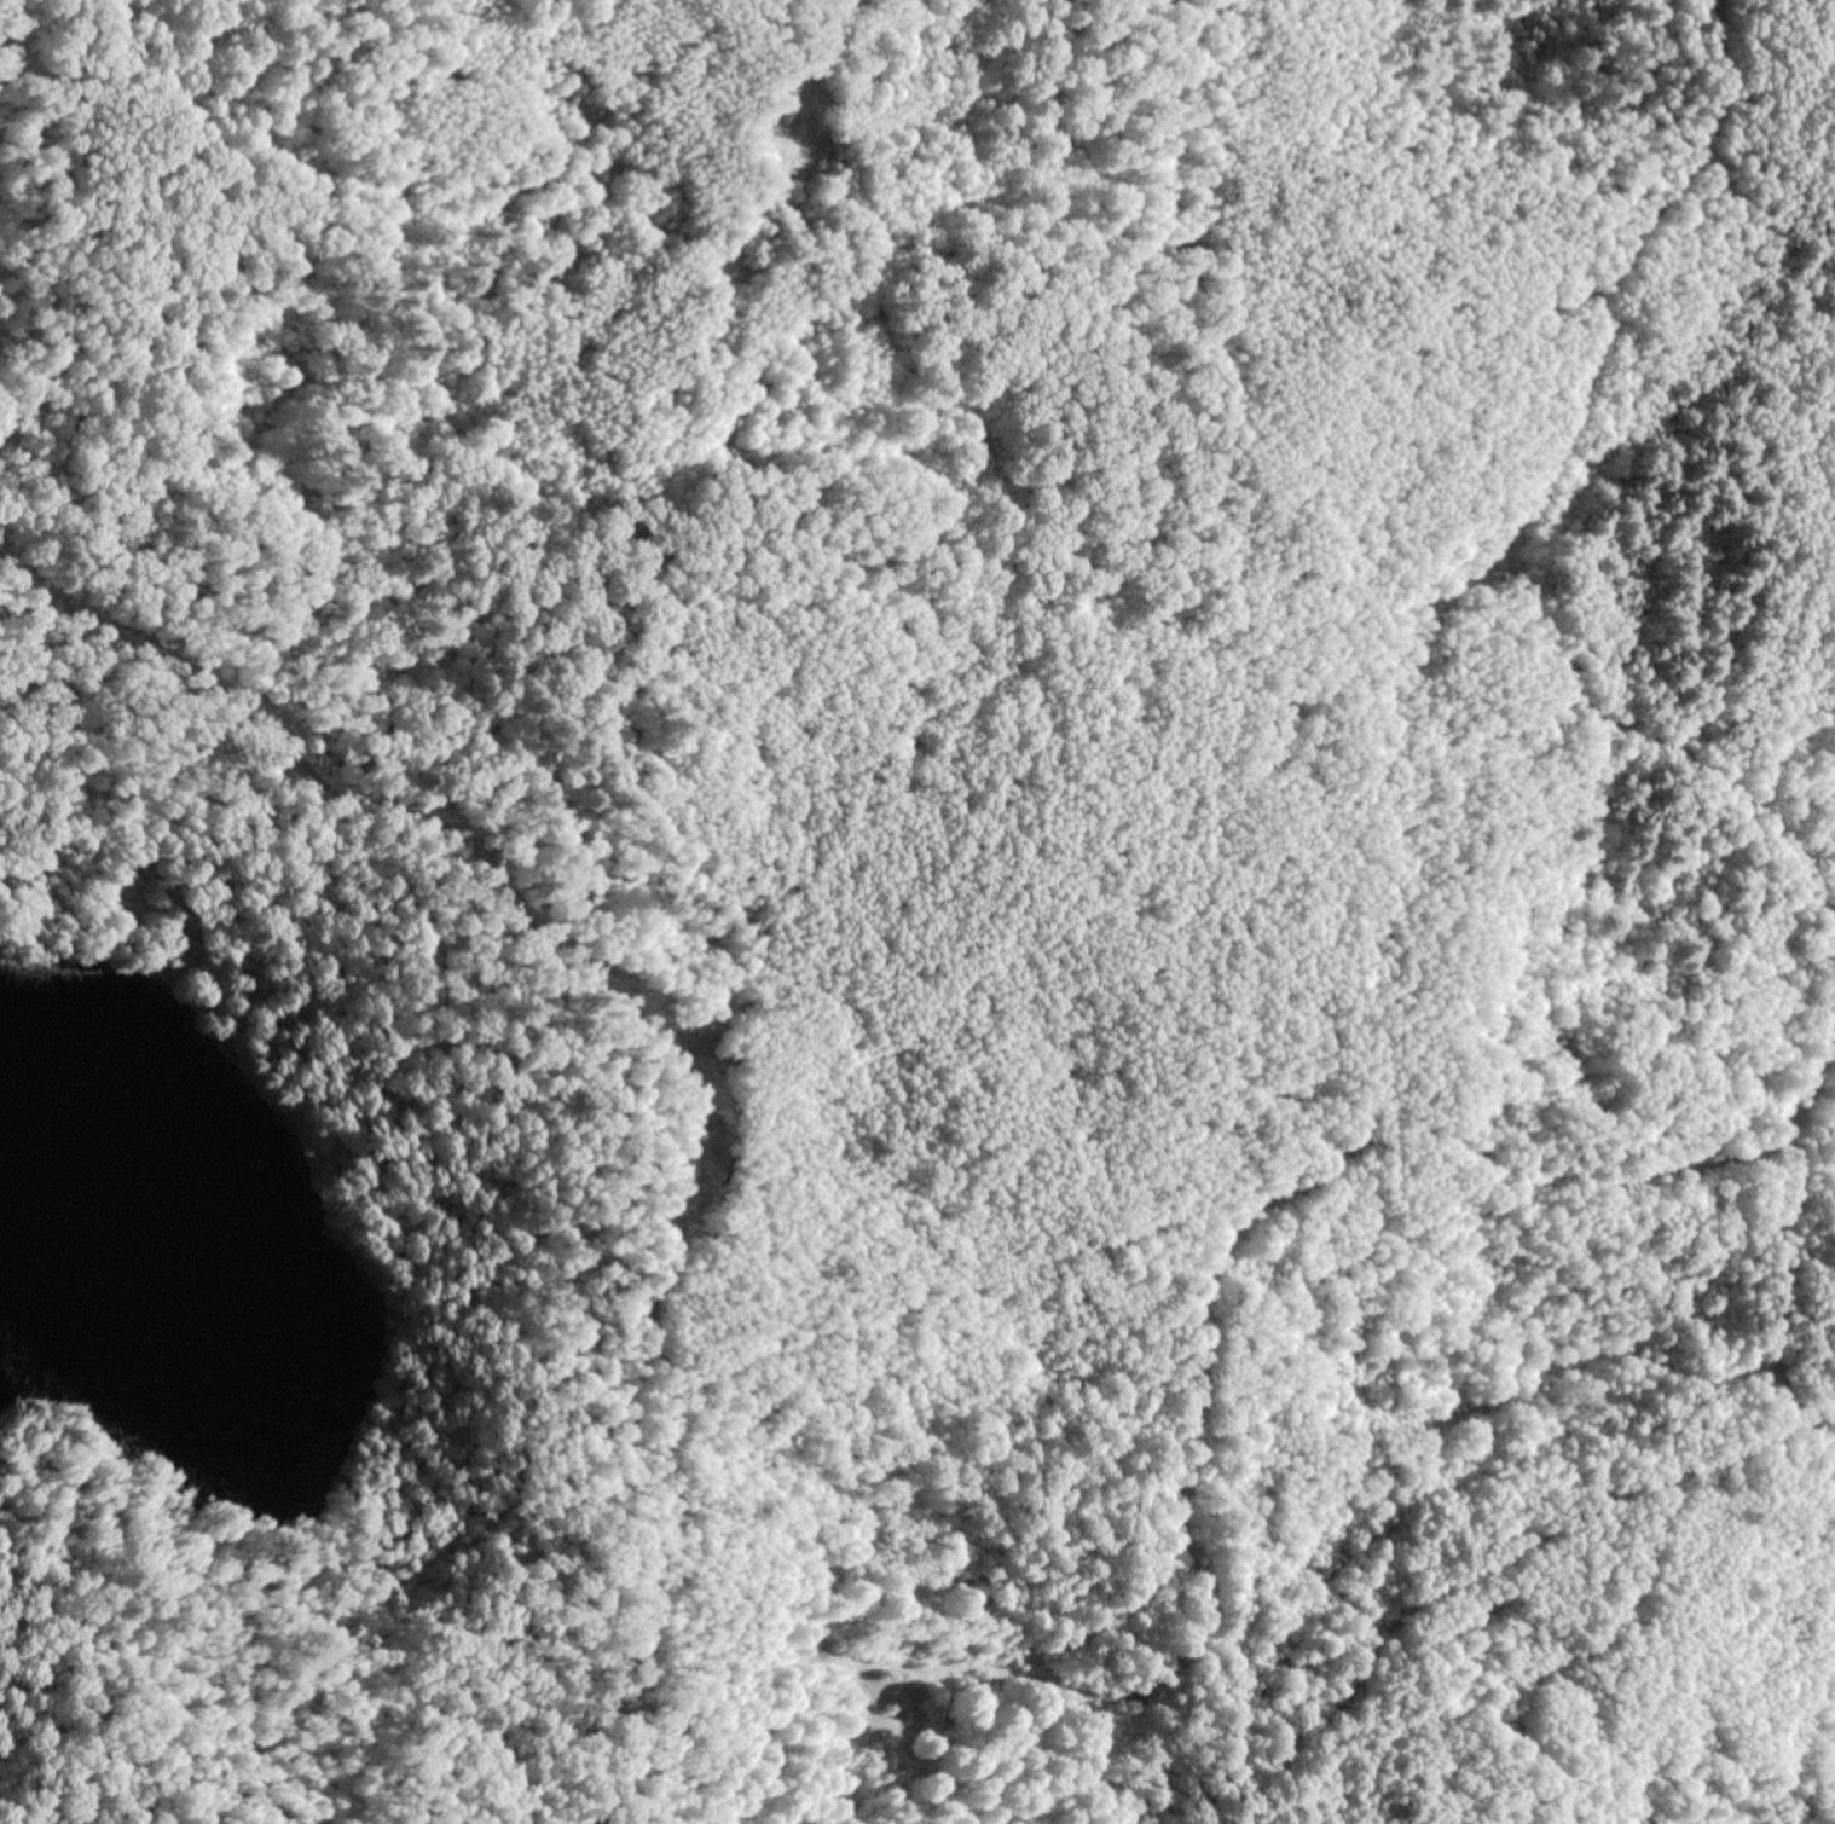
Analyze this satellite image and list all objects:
quarry: (1553, 367)
road: (1516, 516)
road: (1810, 849)
road: (1784, 1243)

